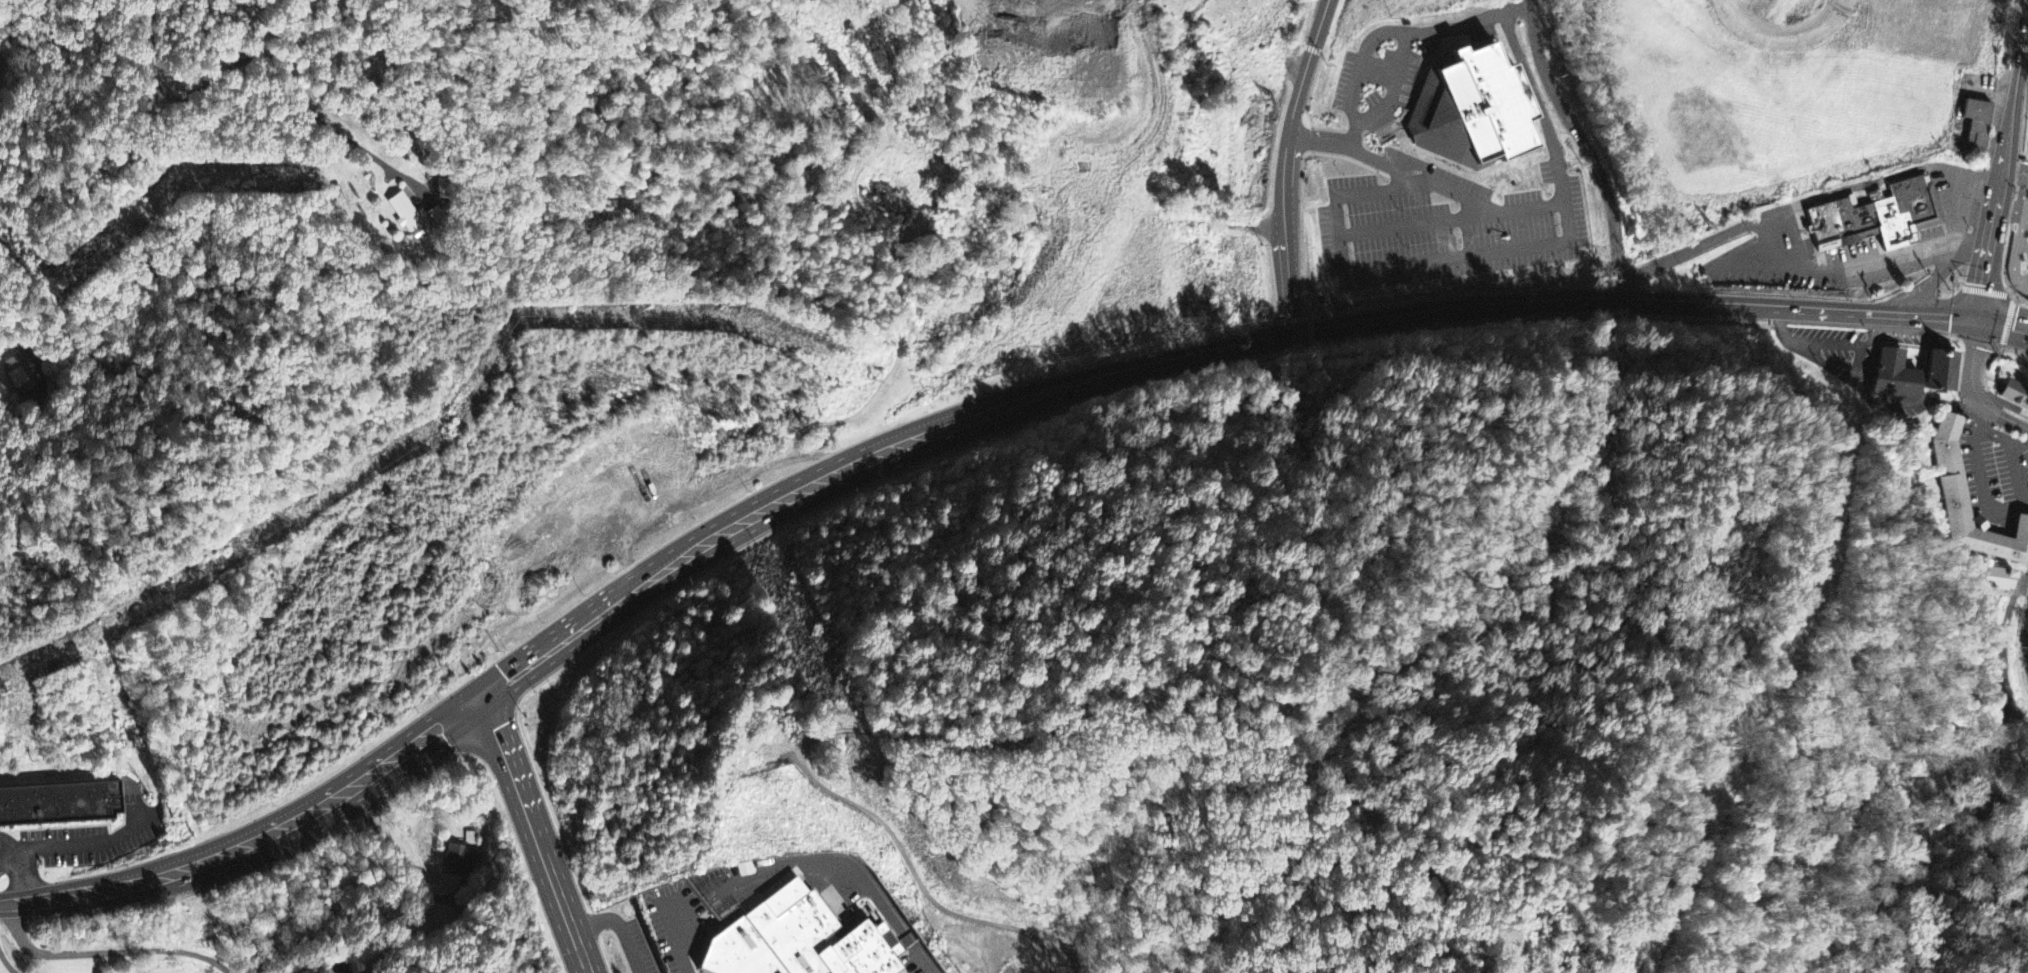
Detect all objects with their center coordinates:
road: (1398, 32)
road: (254, 58)
road: (1396, 87)
building: (1471, 109)
road: (2027, 111)
building: (1979, 119)
park: (2026, 121)
road: (1588, 145)
road: (2027, 157)
road: (2024, 158)
road: (1285, 164)
road: (1395, 167)
road: (2016, 171)
road: (2004, 182)
building: (1919, 200)
road: (2015, 201)
road: (2015, 205)
building: (405, 214)
road: (1452, 218)
building: (1892, 219)
building: (1856, 221)
road: (2023, 222)
building: (1825, 225)
road: (1491, 254)
parking lot: (2025, 256)
road: (2015, 264)
road: (1445, 307)
traffic signals: (1981, 318)
road: (2004, 322)
road: (2010, 322)
road: (0, 342)
road: (1993, 355)
building: (1939, 369)
building: (1893, 371)
building: (26, 374)
road: (1973, 387)
building: (2015, 389)
road: (2008, 448)
building: (1954, 478)
road: (1988, 482)
road: (697, 550)
building: (1991, 578)
traffic signals: (485, 692)
road: (857, 732)
building: (59, 801)
road: (538, 832)
road: (264, 834)
building: (473, 836)
building: (462, 857)
road: (841, 863)
road: (6, 903)
road: (625, 925)
building: (241, 929)
building: (803, 939)
road: (681, 941)
road: (109, 950)
road: (928, 959)
road: (7, 966)
road: (315, 968)

